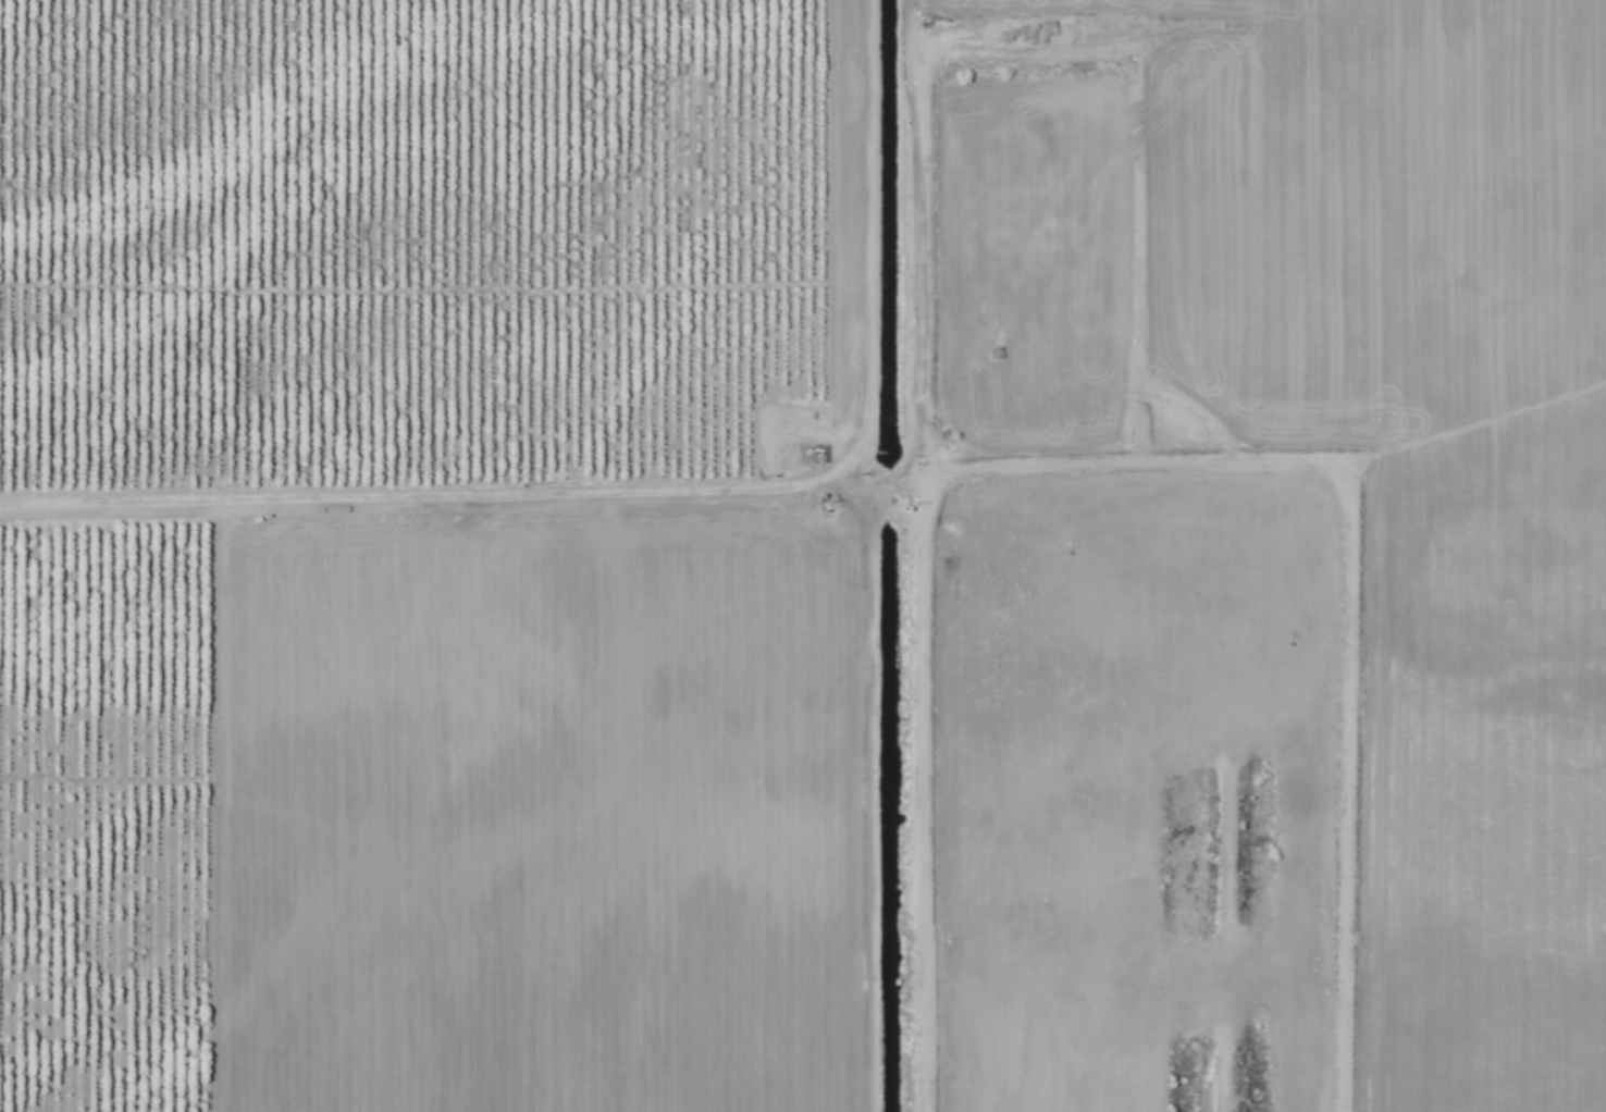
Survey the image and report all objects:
wastewater plant: (1051, 237)
road: (902, 556)

